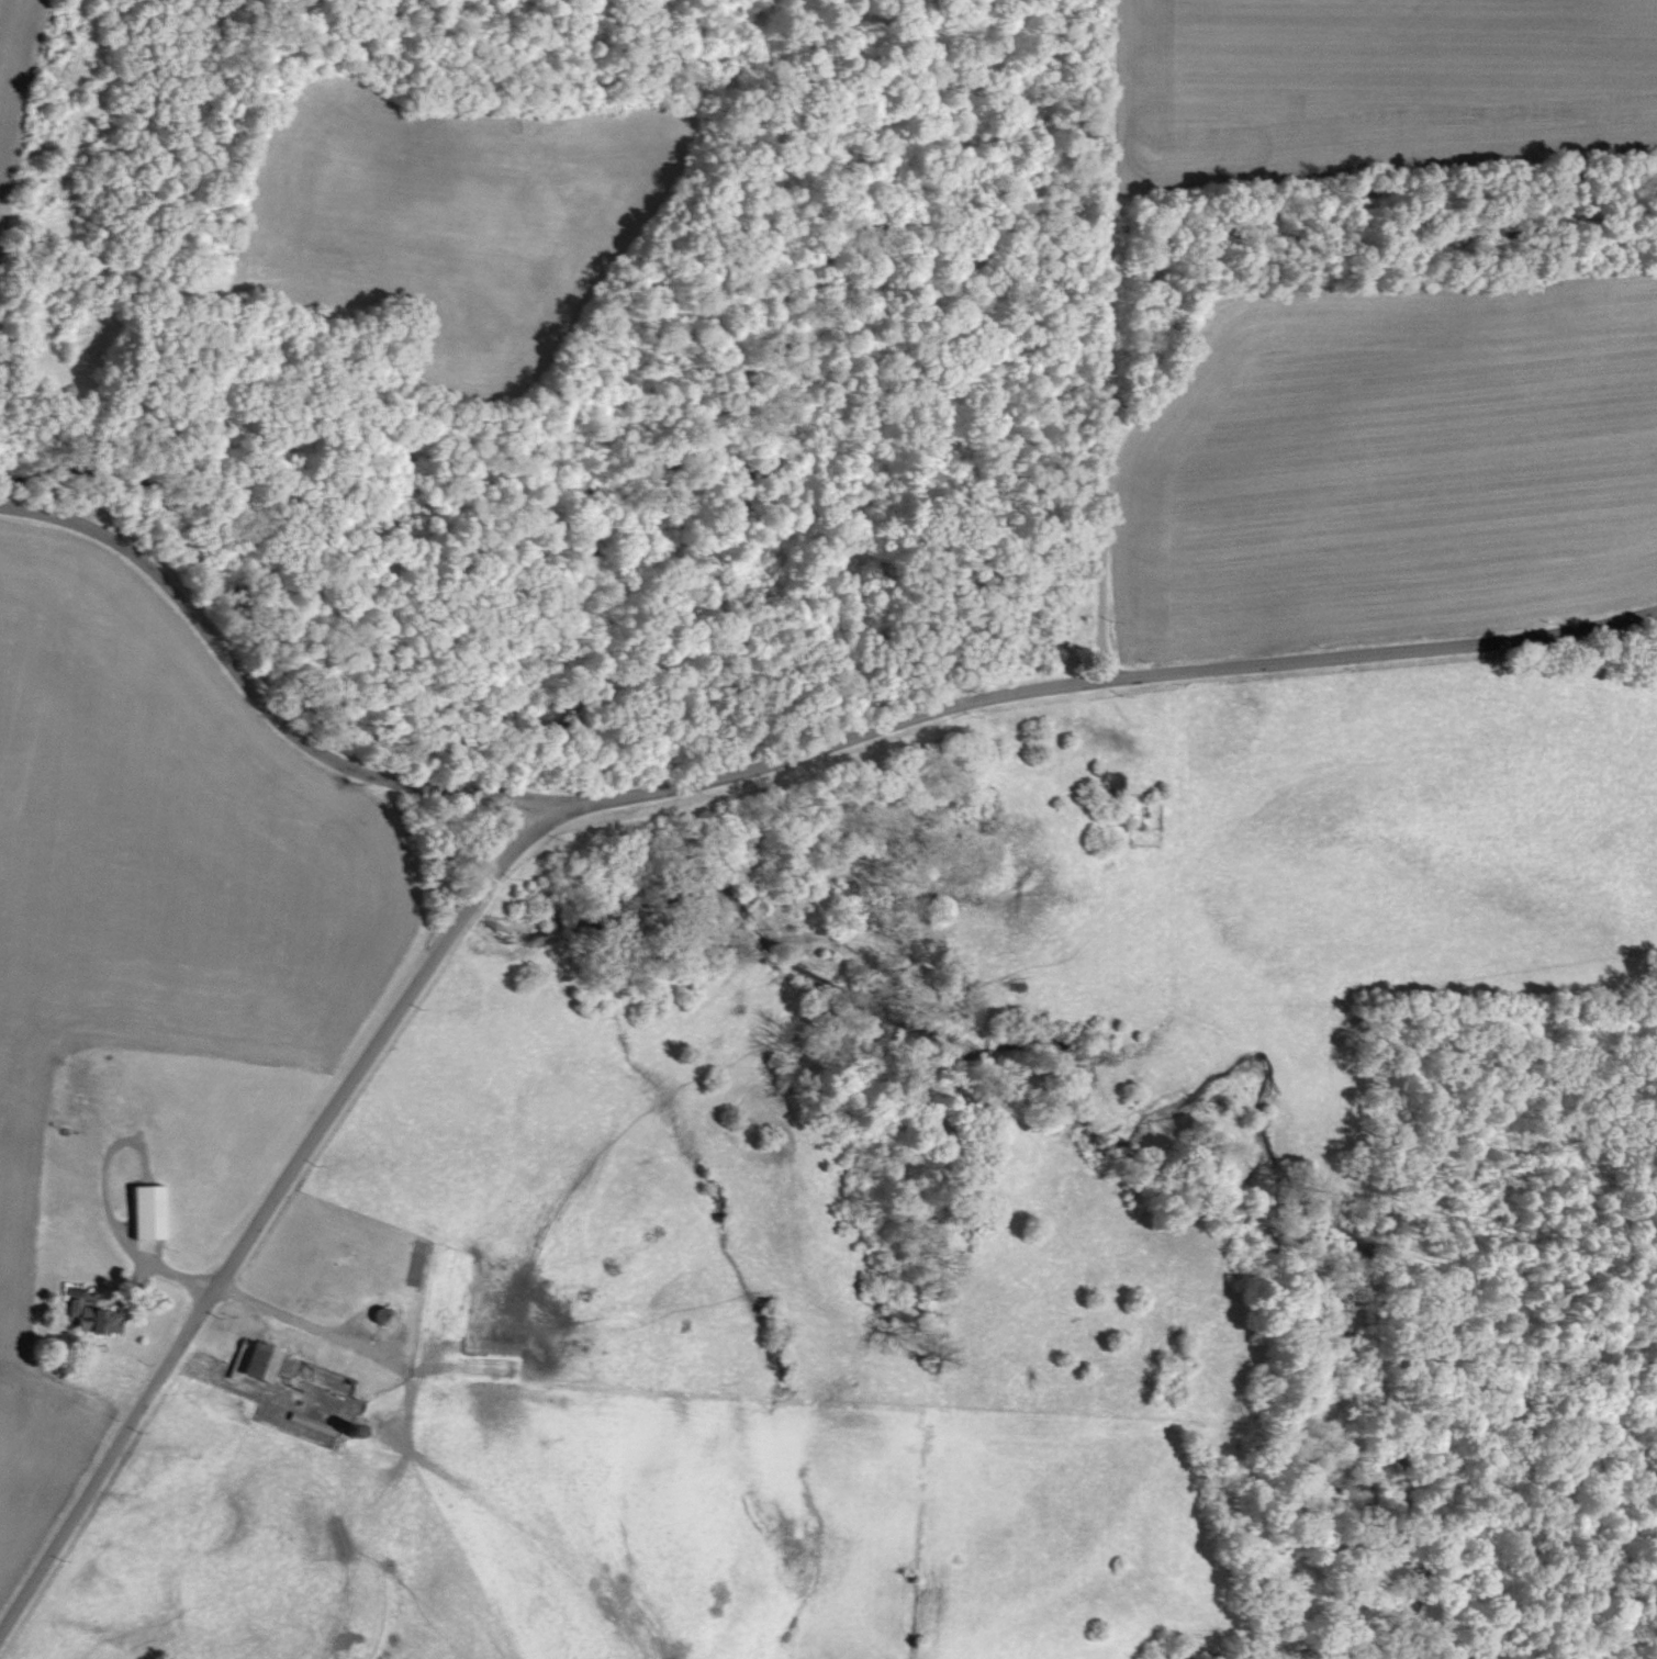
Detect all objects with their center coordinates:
road: (1099, 339)
road: (257, 699)
road: (616, 797)
building: (153, 1212)
road: (121, 1236)
road: (287, 1315)
building: (97, 1316)
building: (259, 1361)

